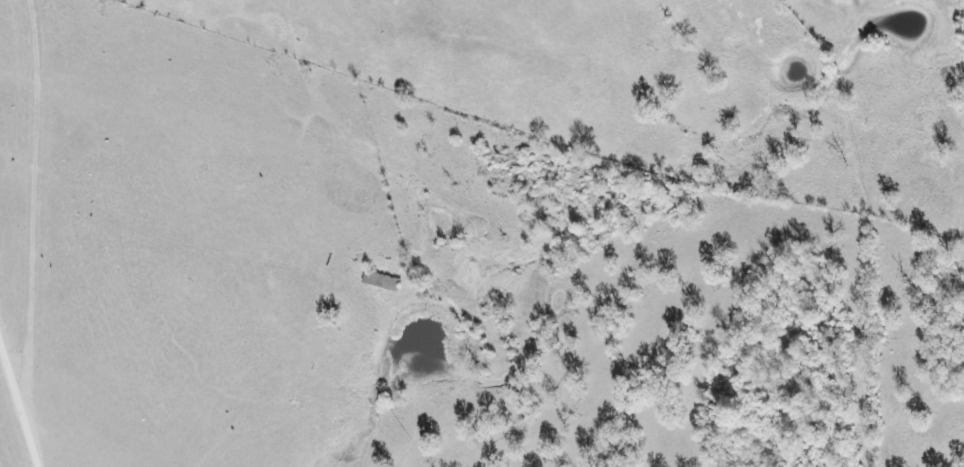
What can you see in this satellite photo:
building: (383, 281)

